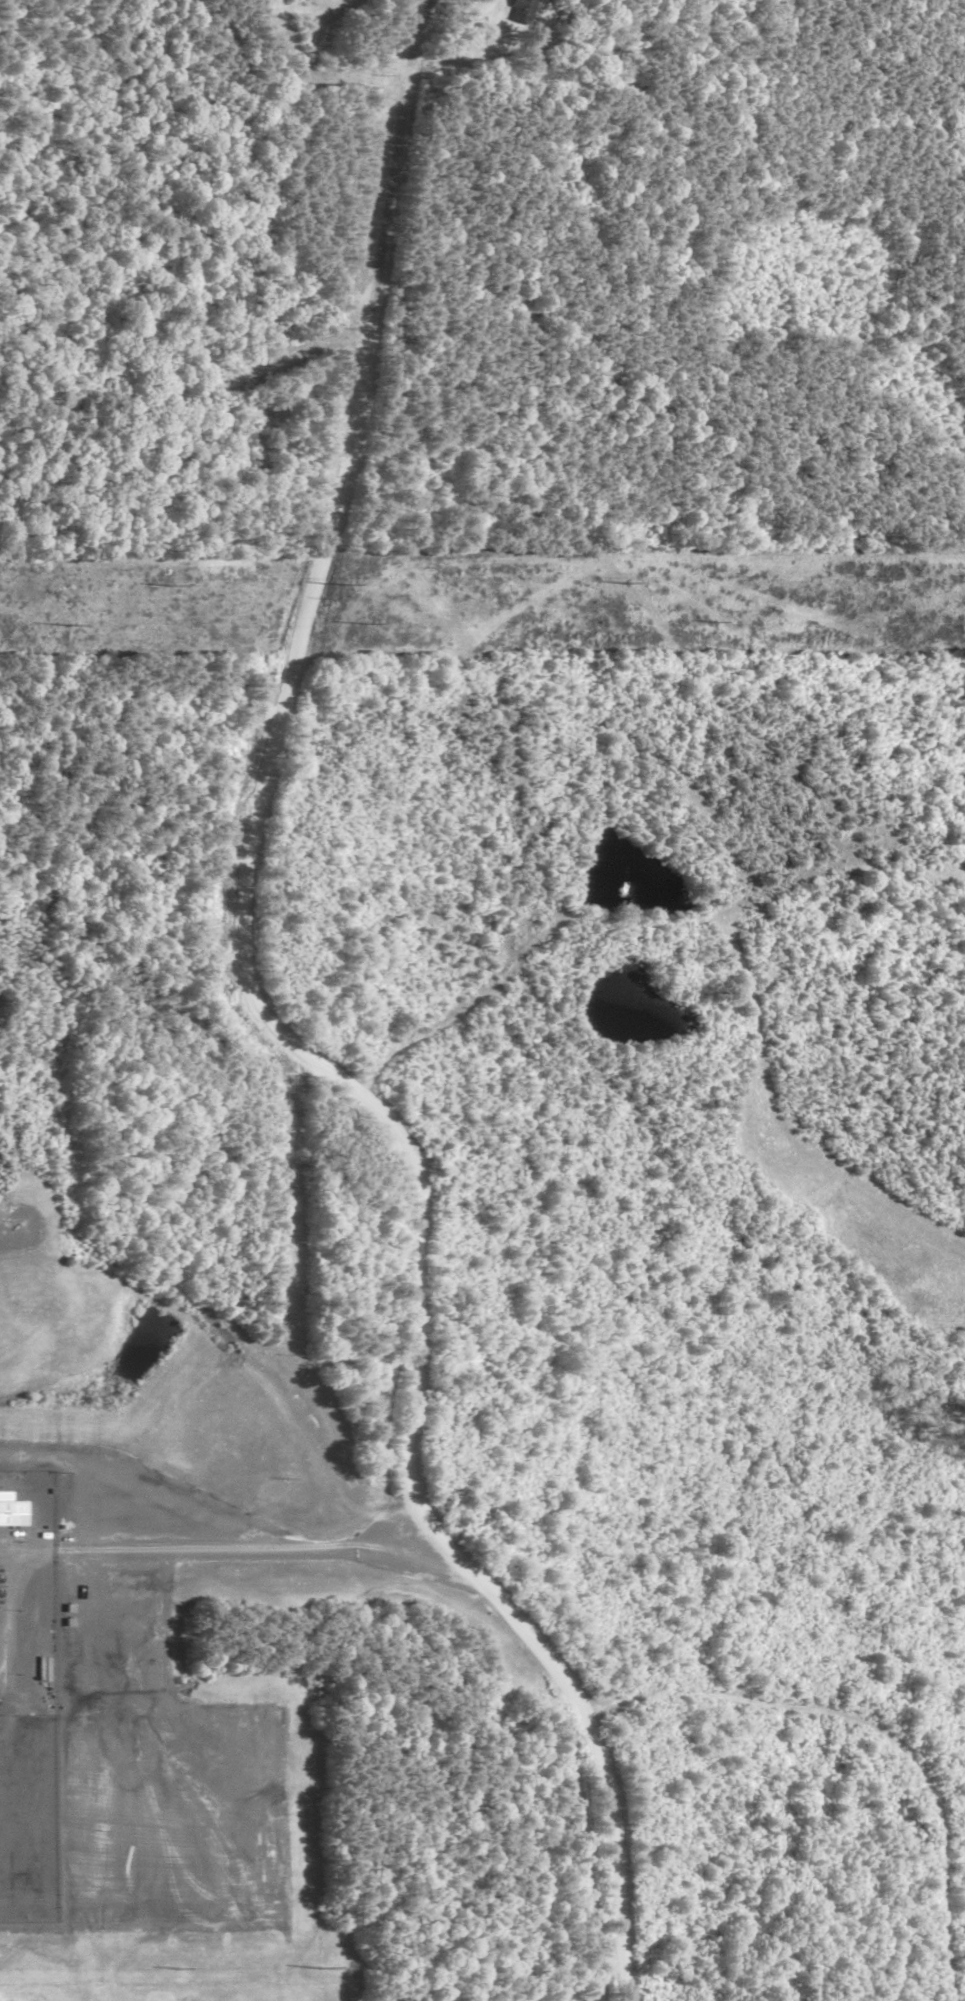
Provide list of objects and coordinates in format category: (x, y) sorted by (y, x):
building: (522, 13)
building: (251, 442)
building: (242, 460)
road: (274, 1028)
building: (14, 1516)
power plant: (29, 1592)
power substation: (29, 1818)

